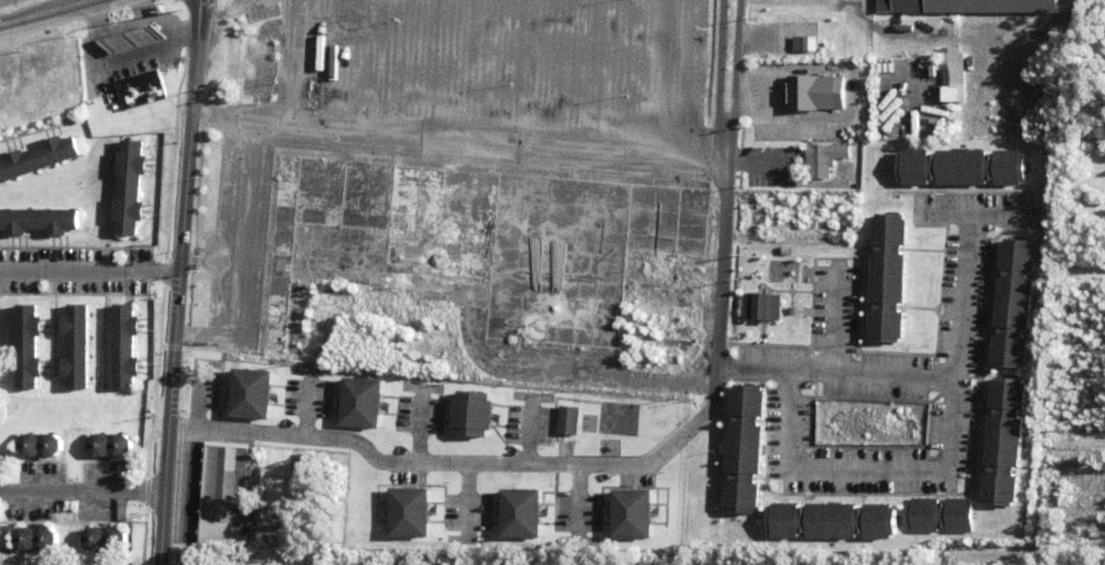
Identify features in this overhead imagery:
building: (968, 7)
road: (58, 16)
building: (130, 38)
building: (802, 43)
building: (245, 52)
building: (949, 67)
building: (141, 89)
building: (950, 93)
building: (813, 95)
building: (318, 101)
parking lot: (454, 102)
building: (38, 158)
building: (822, 160)
building: (473, 167)
building: (958, 167)
building: (130, 188)
building: (39, 221)
building: (490, 239)
building: (885, 277)
road: (92, 279)
road: (960, 279)
road: (1083, 280)
road: (184, 282)
building: (1010, 303)
building: (760, 306)
road: (835, 323)
building: (28, 345)
building: (76, 345)
building: (126, 345)
building: (250, 396)
road: (201, 397)
road: (312, 404)
building: (362, 405)
building: (472, 416)
building: (566, 419)
road: (422, 425)
road: (534, 430)
road: (949, 434)
building: (1002, 440)
building: (42, 442)
building: (112, 442)
road: (1075, 444)
building: (741, 448)
road: (657, 464)
building: (223, 493)
road: (82, 497)
road: (468, 503)
road: (579, 503)
building: (937, 515)
building: (410, 516)
building: (521, 516)
building: (632, 517)
building: (829, 521)
building: (107, 535)
building: (37, 536)
road: (287, 556)
building: (320, 564)

